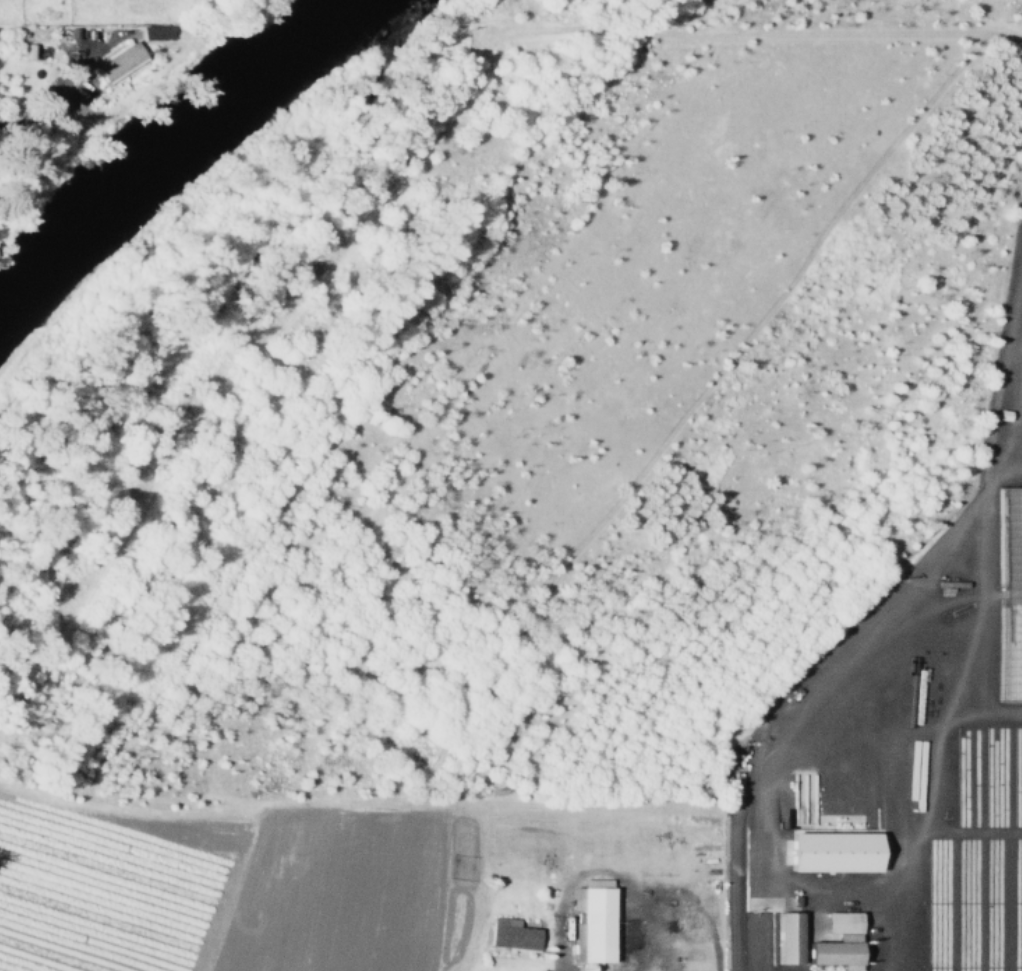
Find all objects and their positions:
building: (150, 31)
building: (72, 32)
building: (115, 62)
river: (186, 155)
building: (827, 850)
building: (589, 921)
road: (734, 927)
building: (509, 933)
building: (783, 936)
building: (833, 941)

